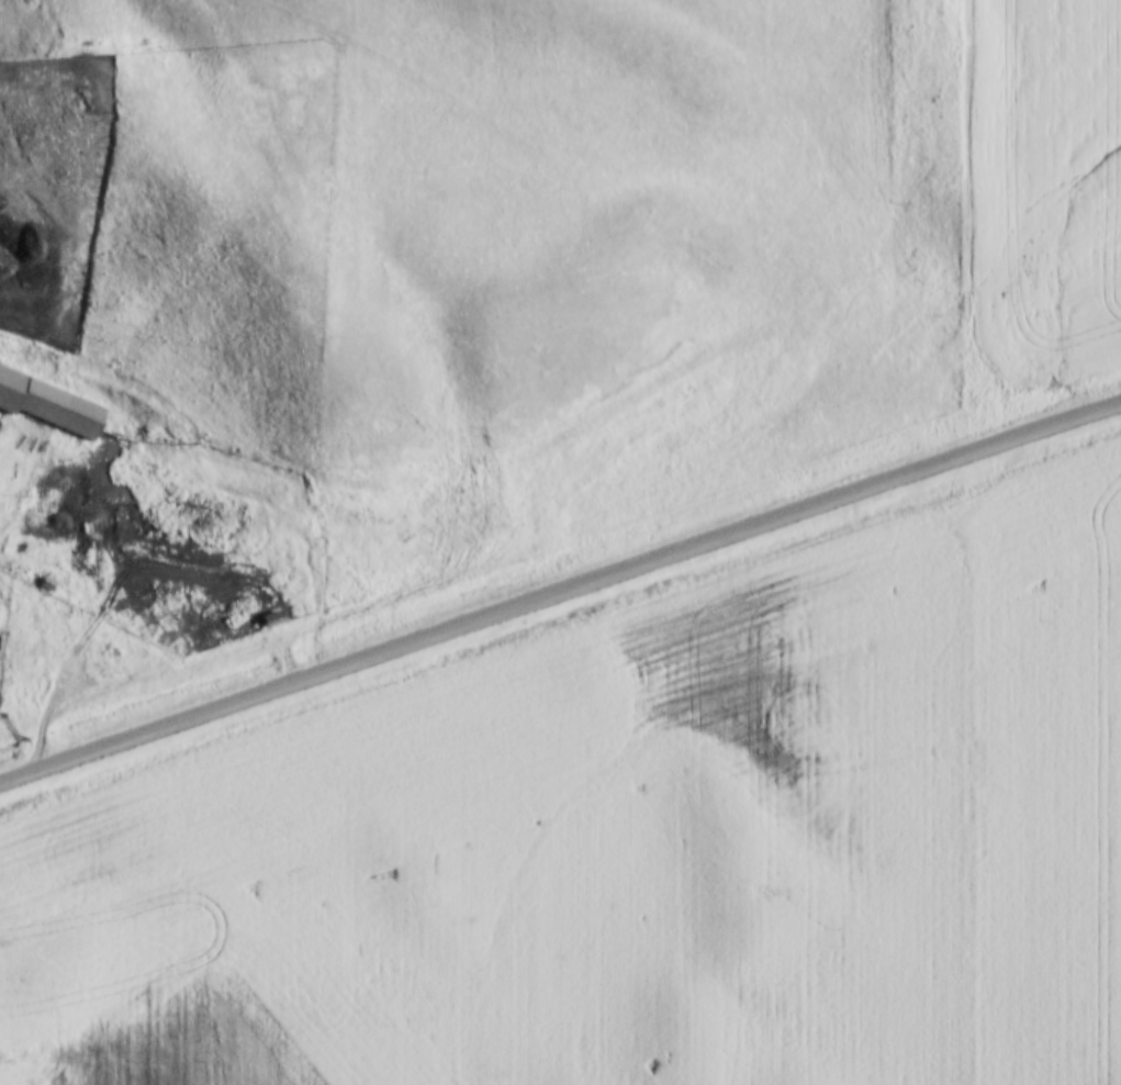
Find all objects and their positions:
building: (48, 403)
road: (560, 589)
building: (272, 618)
building: (1, 645)

